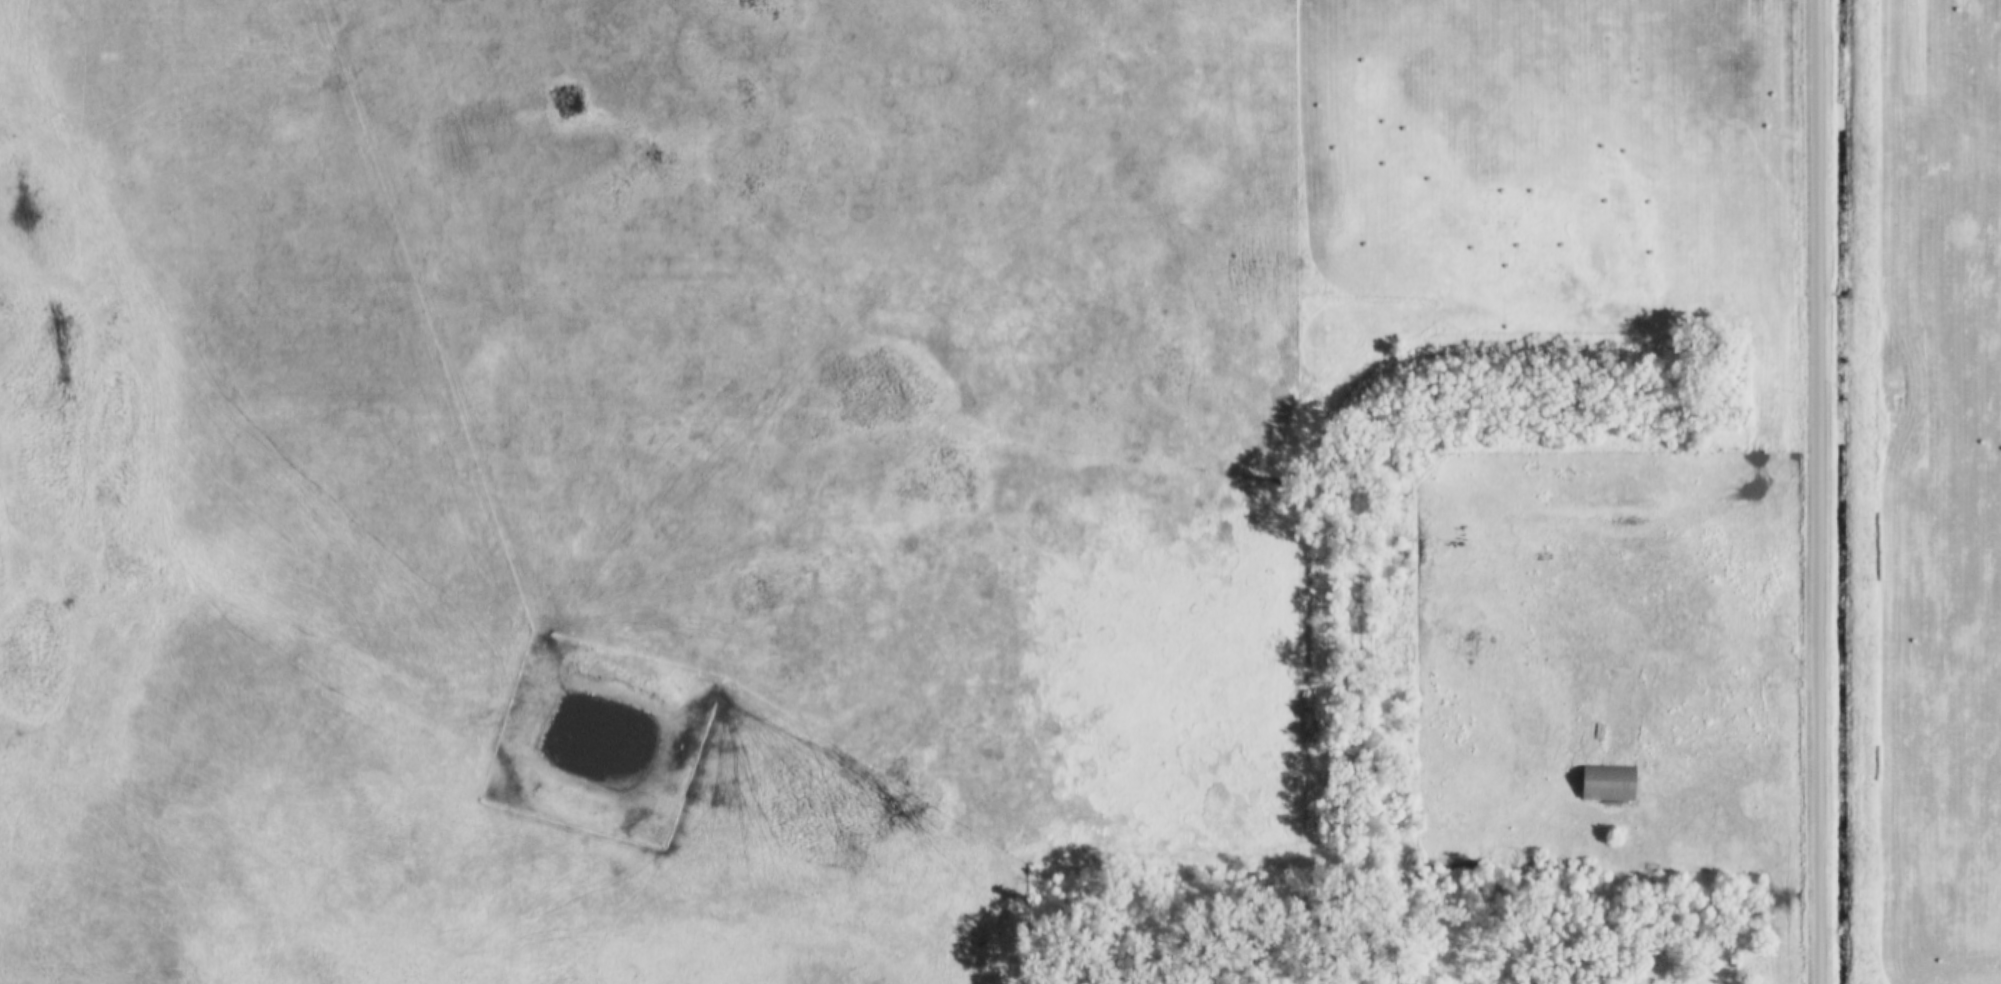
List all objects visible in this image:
building: (1612, 460)
road: (1815, 492)
road: (1704, 654)
building: (1606, 783)

